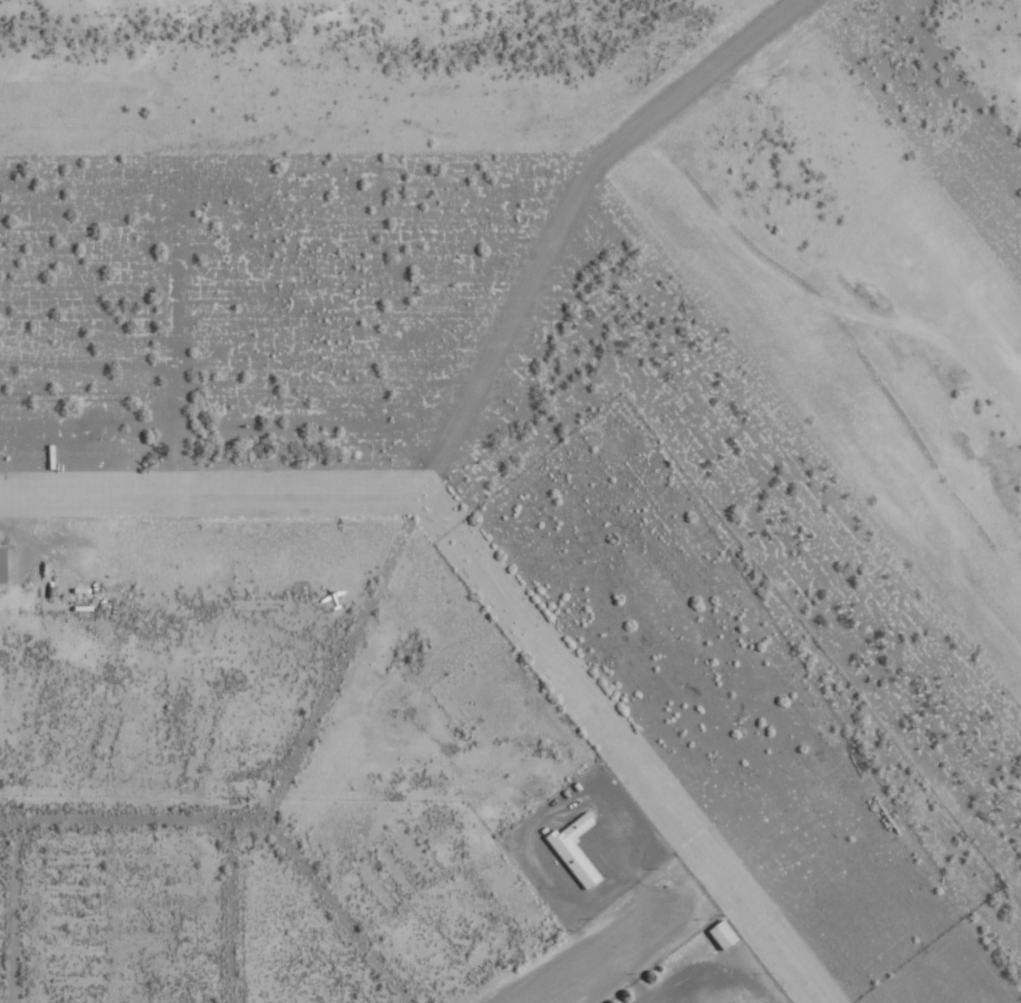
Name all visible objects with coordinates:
airport taxiway: (569, 217)
building: (5, 564)
airport taxiway: (487, 583)
building: (576, 850)
building: (719, 934)

